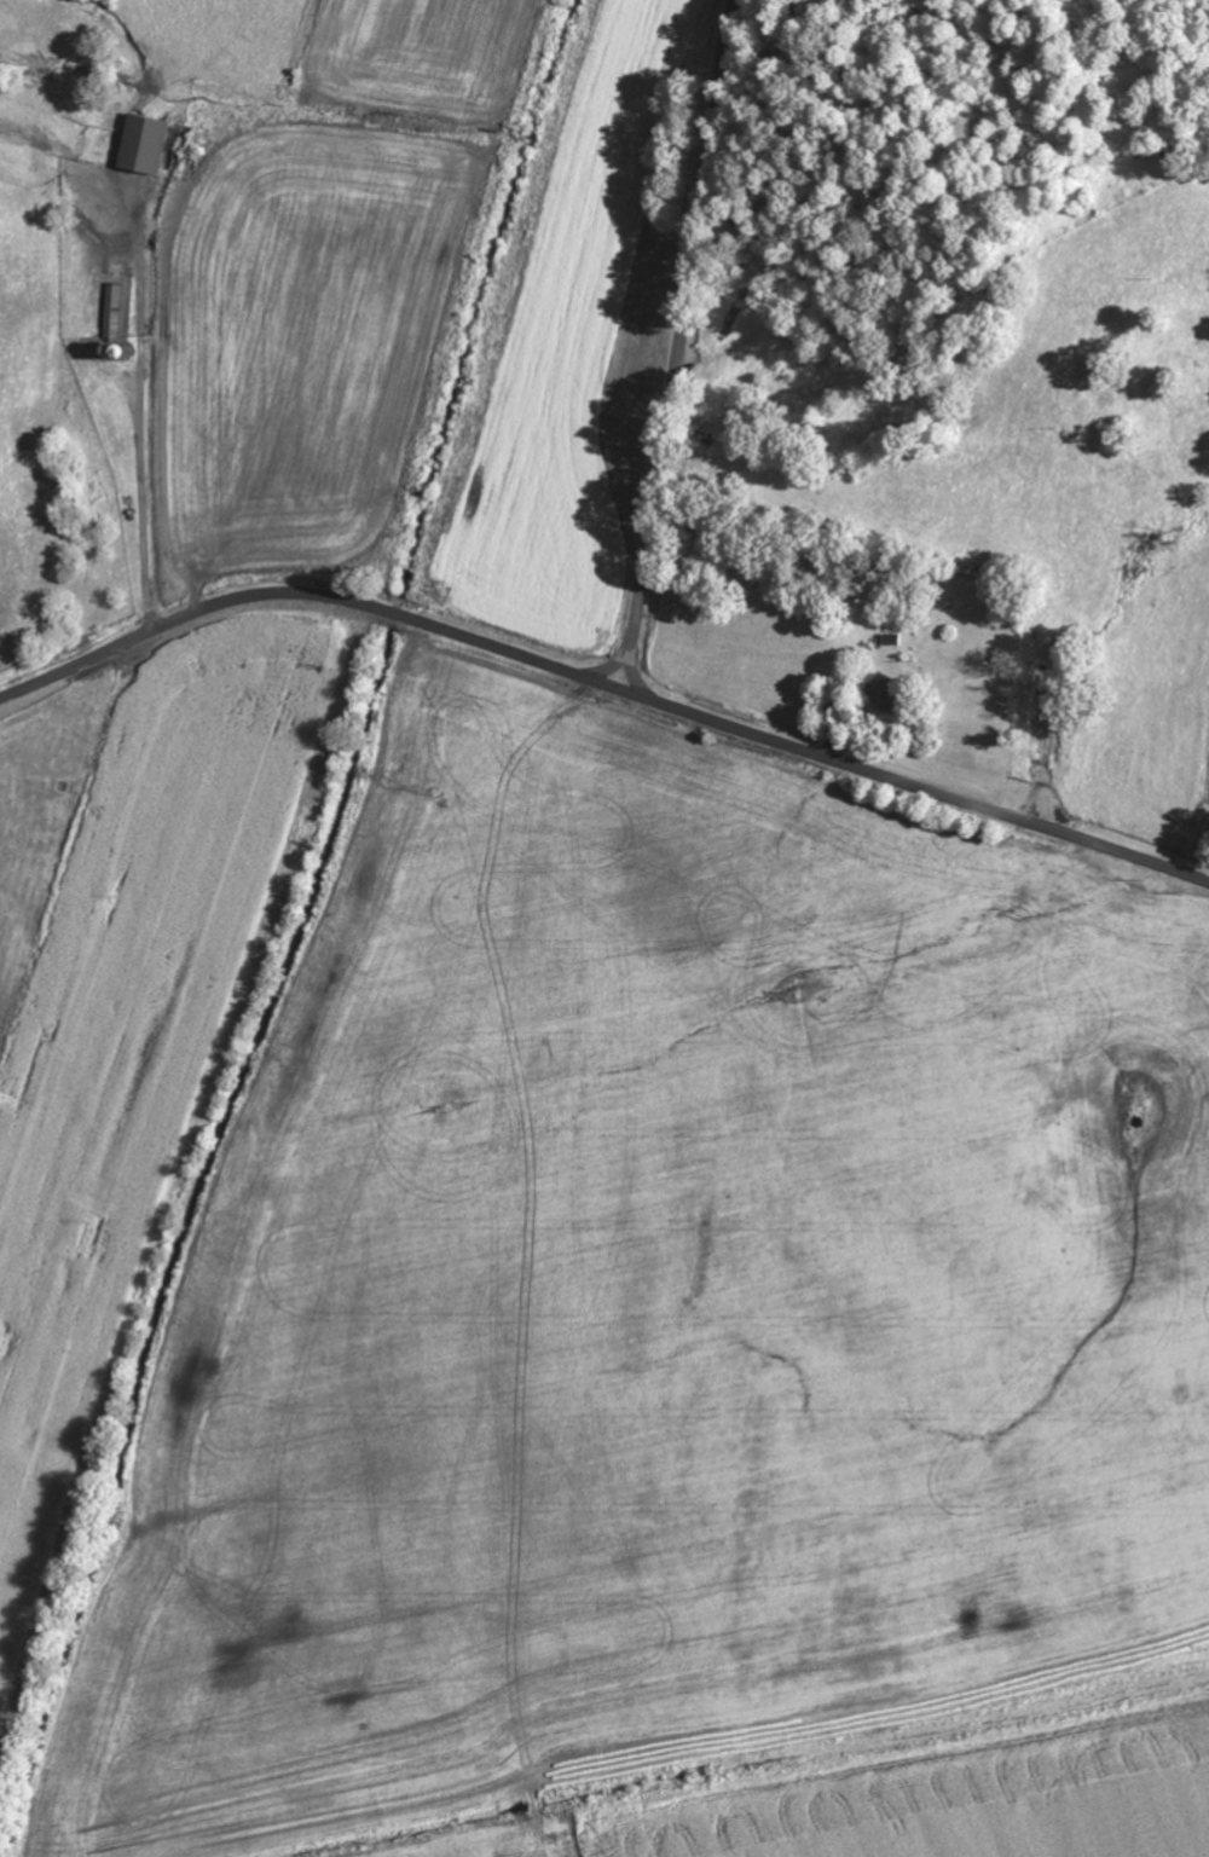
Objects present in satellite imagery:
building: (145, 144)
building: (112, 313)
road: (681, 351)
road: (611, 663)
road: (603, 684)
building: (887, 696)

